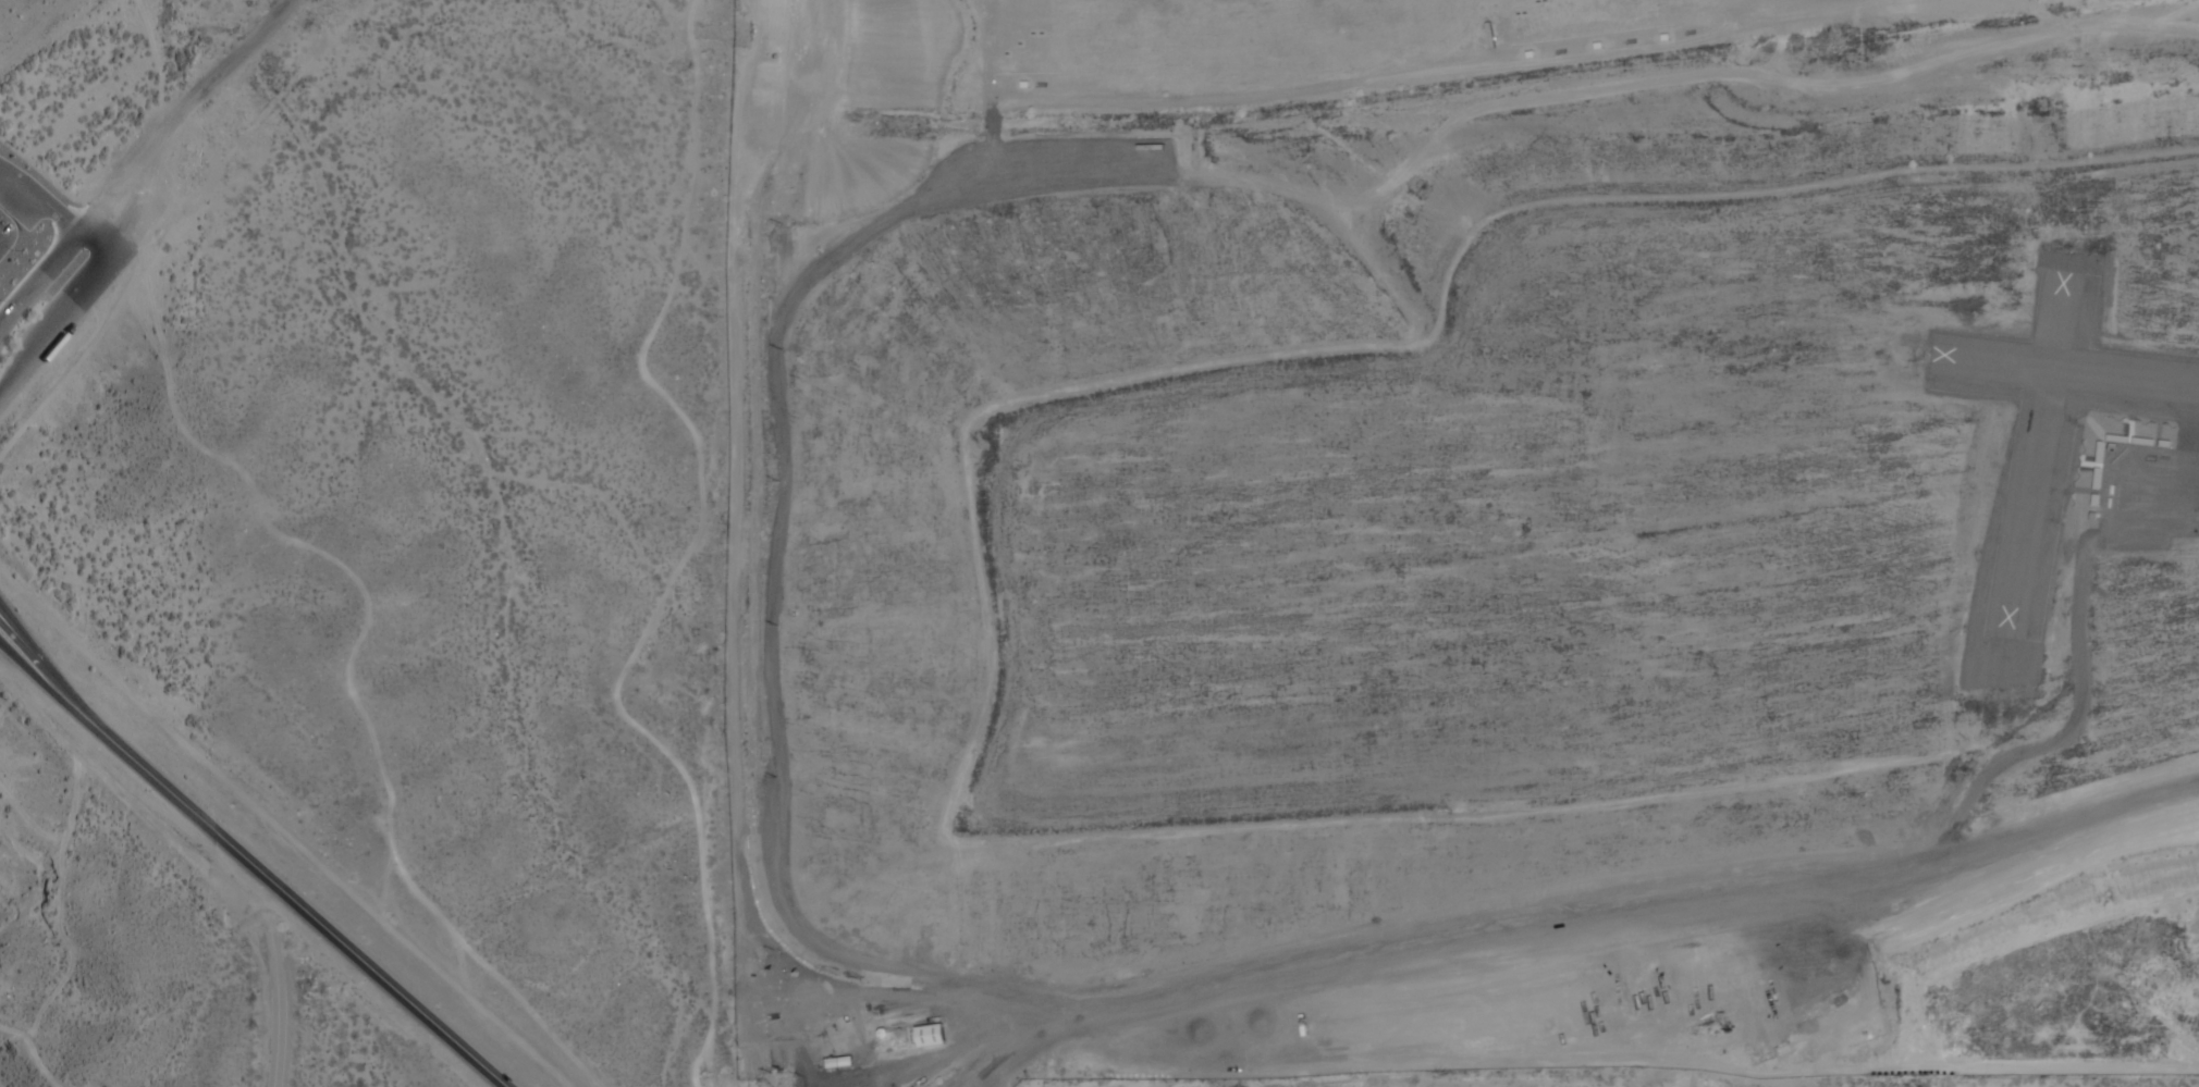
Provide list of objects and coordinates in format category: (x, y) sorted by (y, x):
road: (219, 70)
road: (115, 190)
road: (131, 203)
road: (53, 213)
road: (39, 279)
street lamp: (1, 301)
road: (53, 326)
road: (45, 665)
road: (44, 687)
road: (298, 905)
road: (1571, 911)
road: (278, 978)
building: (931, 1036)
road: (932, 1070)
dam: (1835, 1084)

